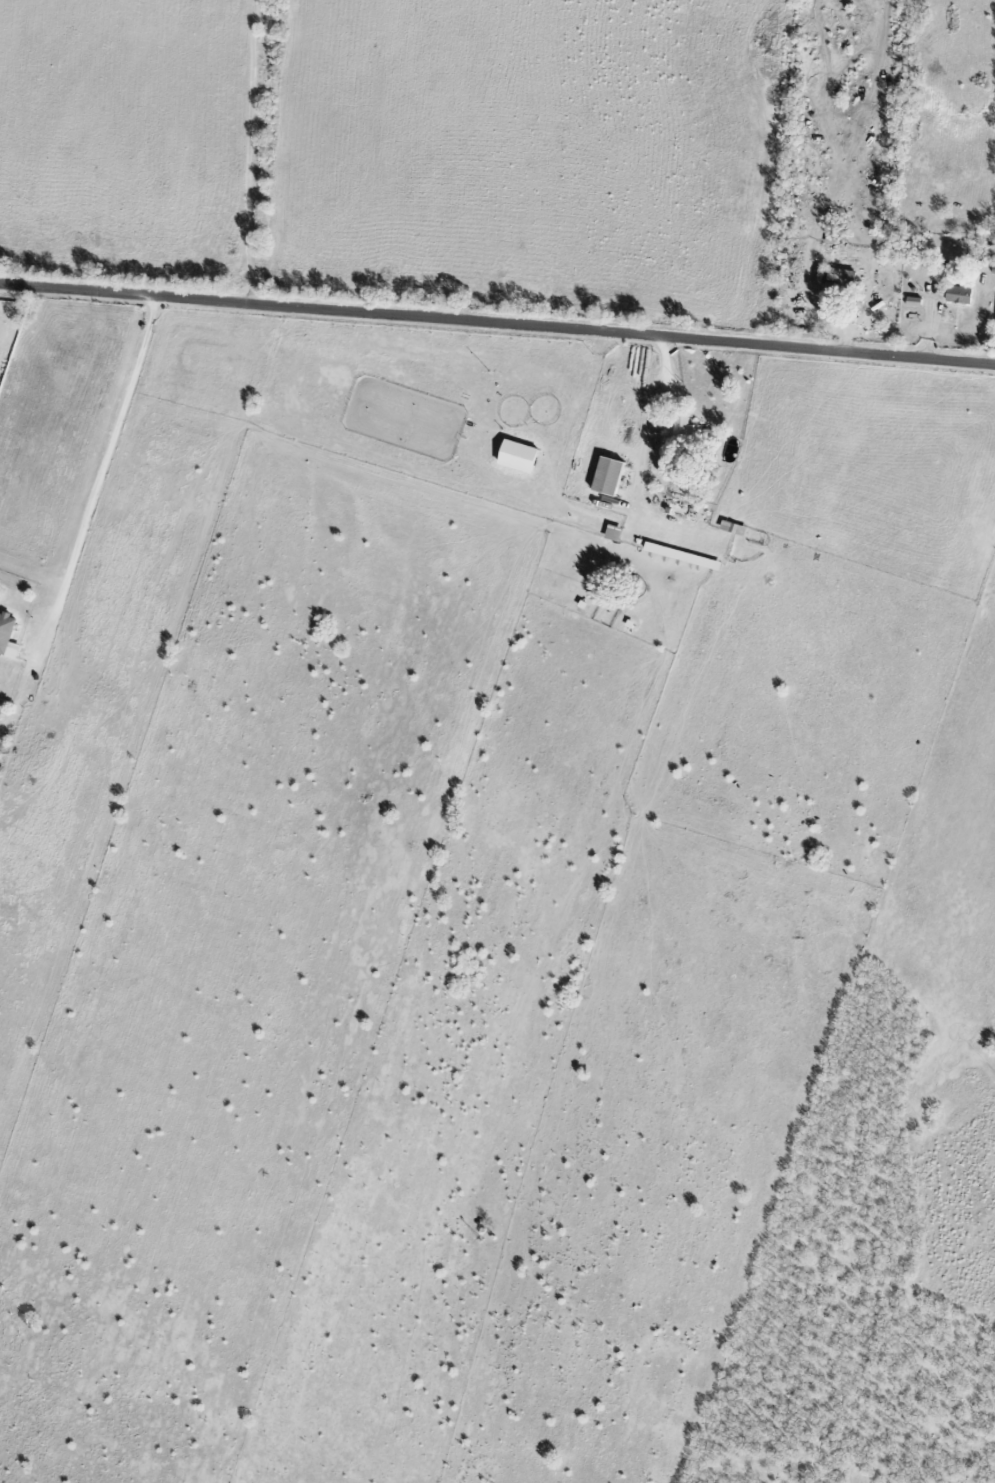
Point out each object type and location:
road: (253, 152)
building: (835, 280)
building: (958, 295)
building: (913, 302)
road: (497, 324)
road: (662, 386)
road: (644, 447)
building: (518, 457)
road: (109, 458)
building: (608, 477)

